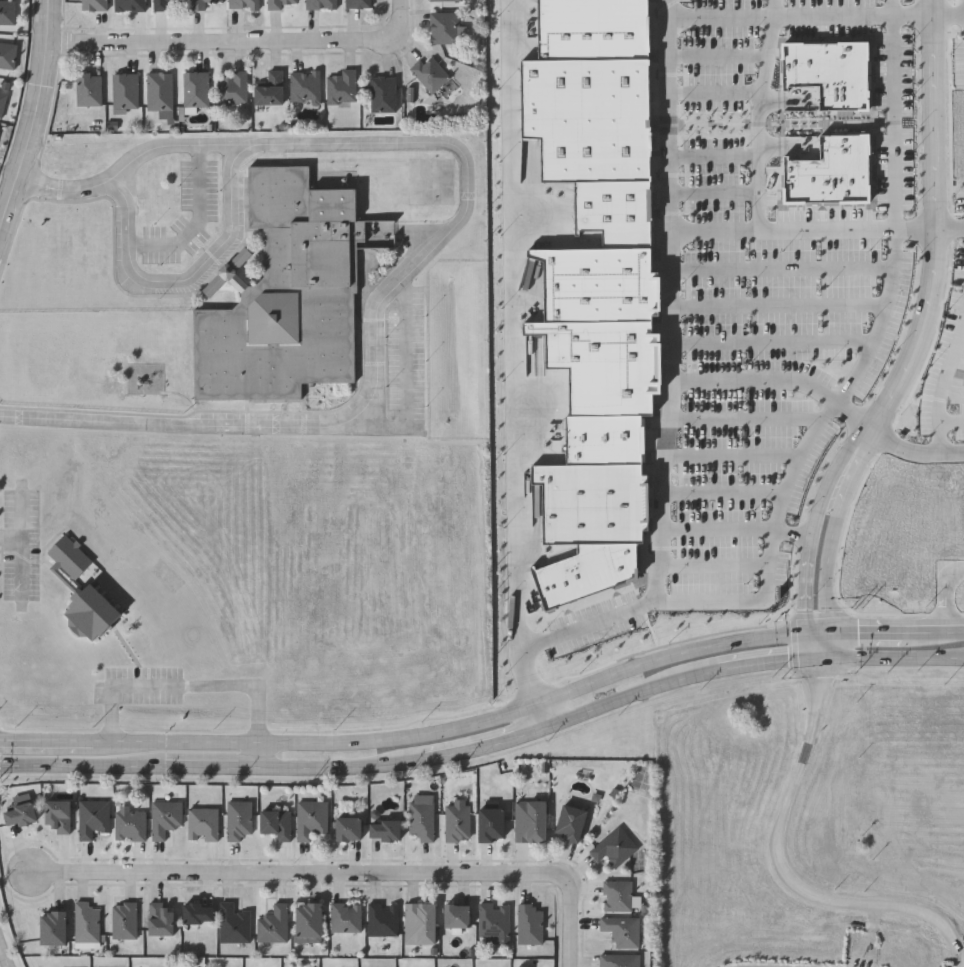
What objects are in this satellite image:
building: (440, 0)
building: (201, 3)
building: (357, 3)
building: (167, 4)
building: (242, 4)
building: (276, 4)
building: (320, 4)
building: (93, 5)
building: (129, 5)
road: (776, 9)
road: (895, 9)
building: (7, 12)
road: (963, 16)
road: (401, 18)
road: (805, 18)
road: (951, 18)
building: (443, 27)
building: (606, 29)
road: (225, 47)
building: (7, 55)
road: (720, 55)
building: (428, 73)
building: (833, 73)
building: (340, 86)
building: (232, 87)
building: (304, 87)
building: (270, 88)
building: (87, 89)
building: (194, 89)
building: (124, 90)
building: (158, 91)
road: (717, 92)
building: (381, 93)
building: (2, 104)
road: (36, 119)
building: (601, 120)
road: (761, 125)
road: (895, 125)
road: (324, 143)
road: (179, 145)
road: (716, 153)
building: (834, 173)
road: (716, 189)
road: (201, 198)
building: (625, 214)
road: (952, 231)
road: (688, 233)
road: (154, 244)
road: (939, 260)
road: (782, 267)
building: (611, 286)
building: (287, 294)
road: (782, 302)
road: (674, 306)
road: (881, 322)
road: (508, 325)
road: (774, 341)
building: (617, 367)
road: (717, 380)
road: (939, 380)
road: (408, 392)
road: (854, 415)
road: (749, 416)
road: (948, 419)
road: (165, 420)
building: (607, 441)
road: (737, 452)
road: (914, 453)
road: (724, 493)
building: (589, 502)
building: (537, 506)
road: (718, 526)
road: (10, 537)
building: (68, 558)
road: (809, 560)
road: (828, 561)
road: (715, 564)
building: (595, 577)
road: (947, 594)
road: (665, 602)
building: (92, 614)
traffic signals: (806, 614)
road: (818, 629)
traffic signals: (839, 632)
road: (819, 644)
road: (891, 655)
traffic signals: (785, 659)
road: (768, 661)
traffic signals: (820, 670)
road: (185, 687)
road: (629, 695)
road: (540, 702)
road: (538, 716)
road: (55, 741)
road: (483, 745)
road: (261, 753)
road: (82, 763)
road: (212, 765)
road: (342, 765)
building: (20, 814)
building: (59, 815)
building: (92, 817)
building: (164, 817)
building: (310, 818)
building: (421, 819)
building: (239, 820)
building: (531, 821)
building: (129, 823)
building: (457, 823)
building: (572, 823)
building: (202, 824)
building: (277, 824)
building: (493, 824)
building: (349, 828)
building: (385, 830)
building: (614, 847)
road: (782, 865)
road: (300, 876)
building: (617, 895)
building: (199, 913)
building: (458, 915)
building: (346, 917)
building: (162, 919)
building: (383, 919)
building: (494, 919)
building: (123, 920)
building: (310, 920)
road: (573, 920)
building: (86, 922)
building: (421, 923)
building: (529, 923)
building: (233, 924)
building: (273, 925)
building: (54, 928)
building: (622, 930)
building: (619, 960)
road: (1, 963)

